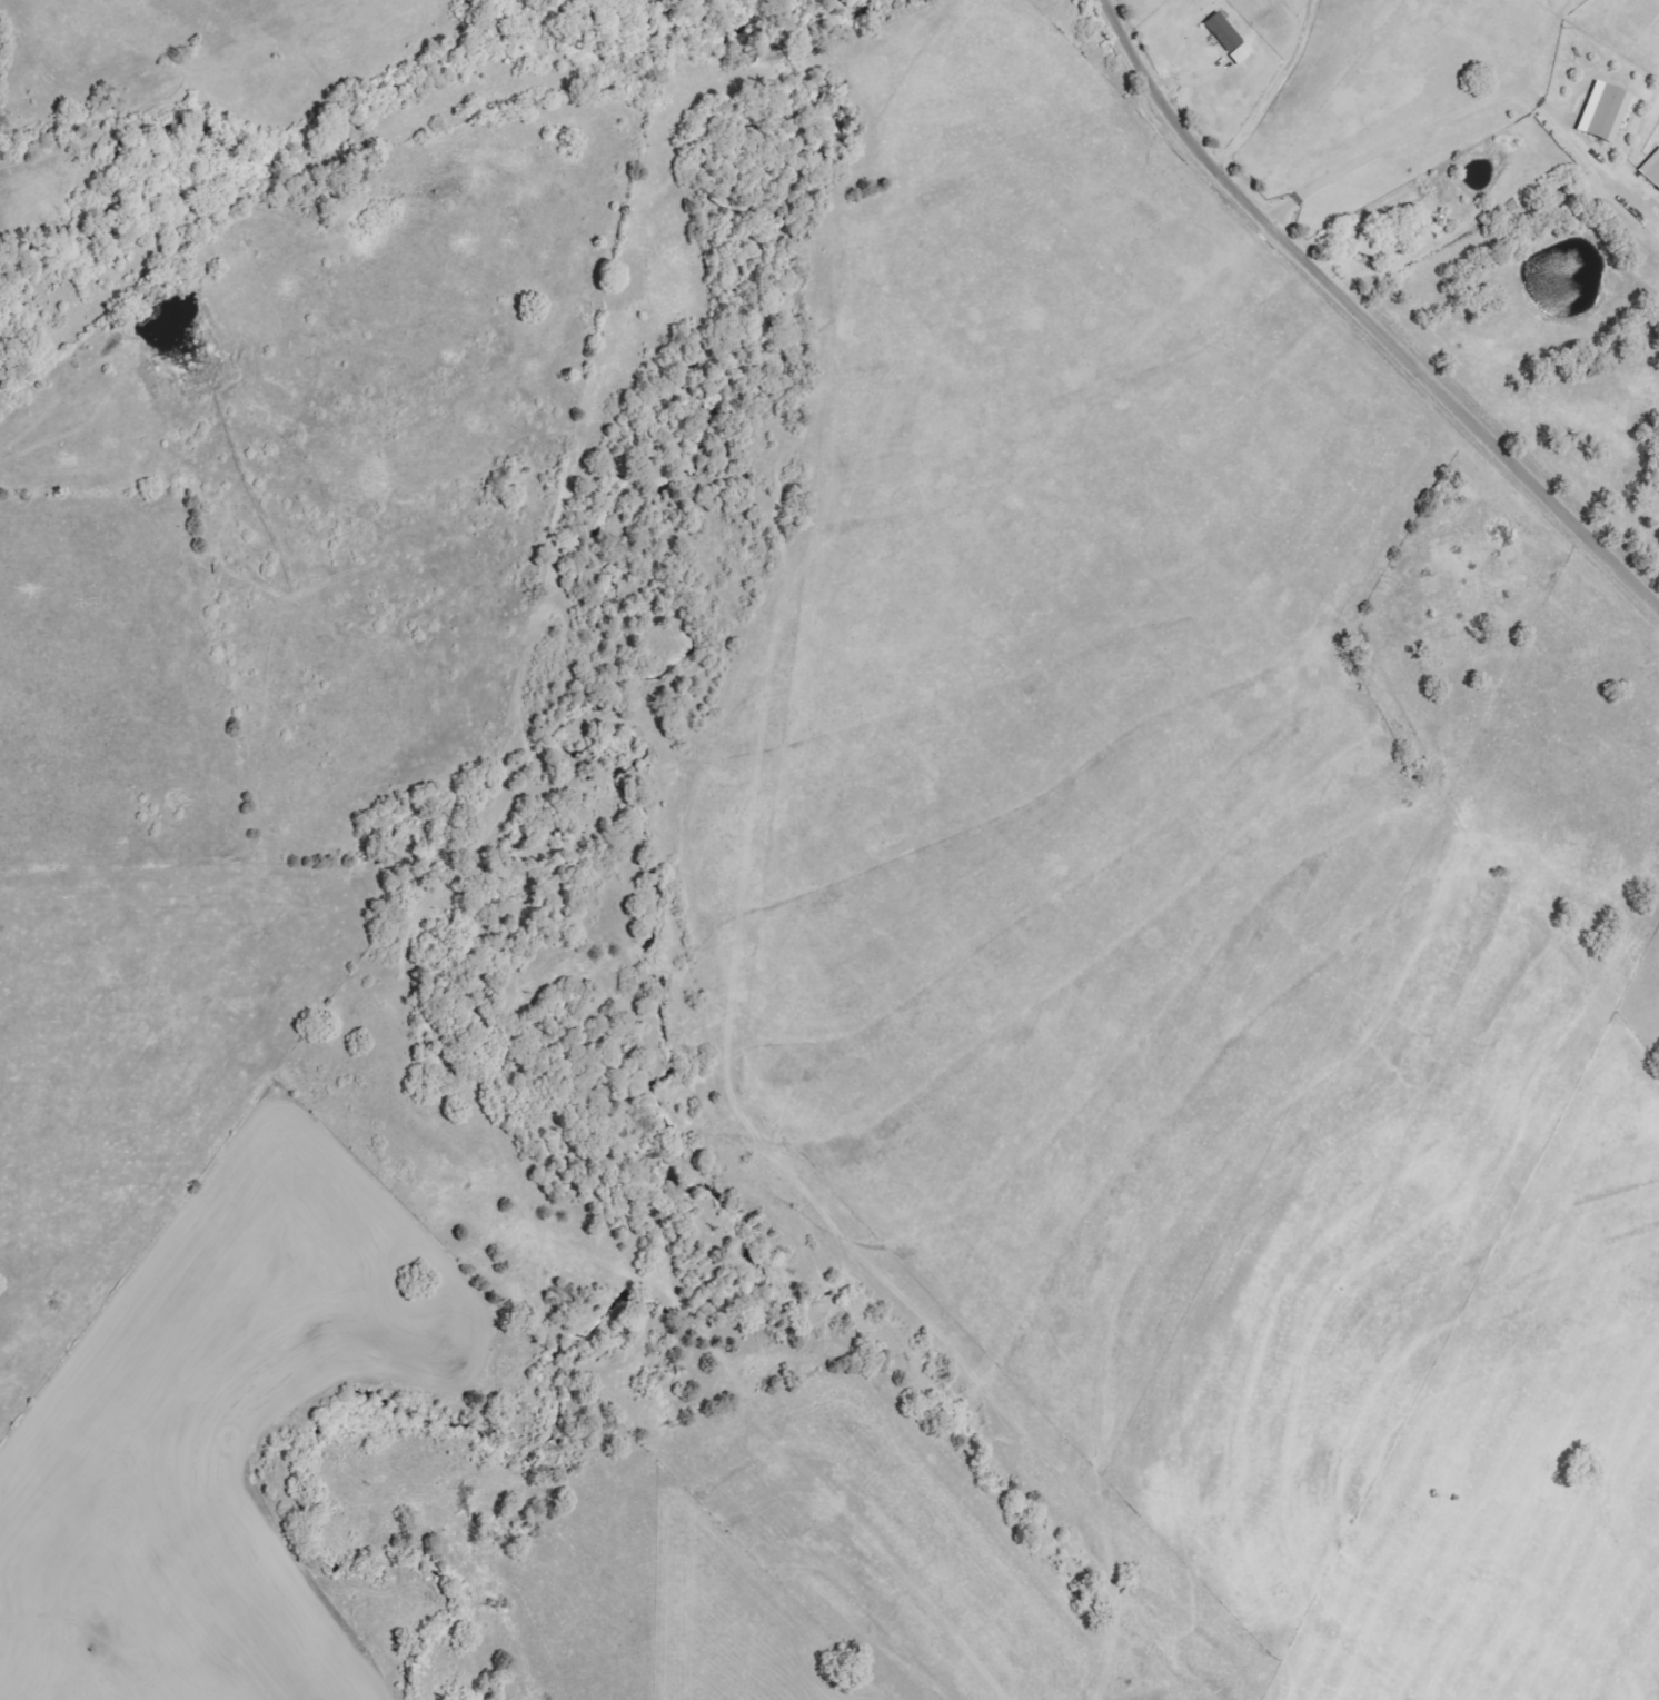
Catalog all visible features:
building: (1223, 31)
building: (1241, 53)
building: (1603, 111)
road: (1413, 132)
building: (1651, 169)
building: (1431, 227)
building: (1375, 248)
road: (1363, 316)
road: (1389, 451)

